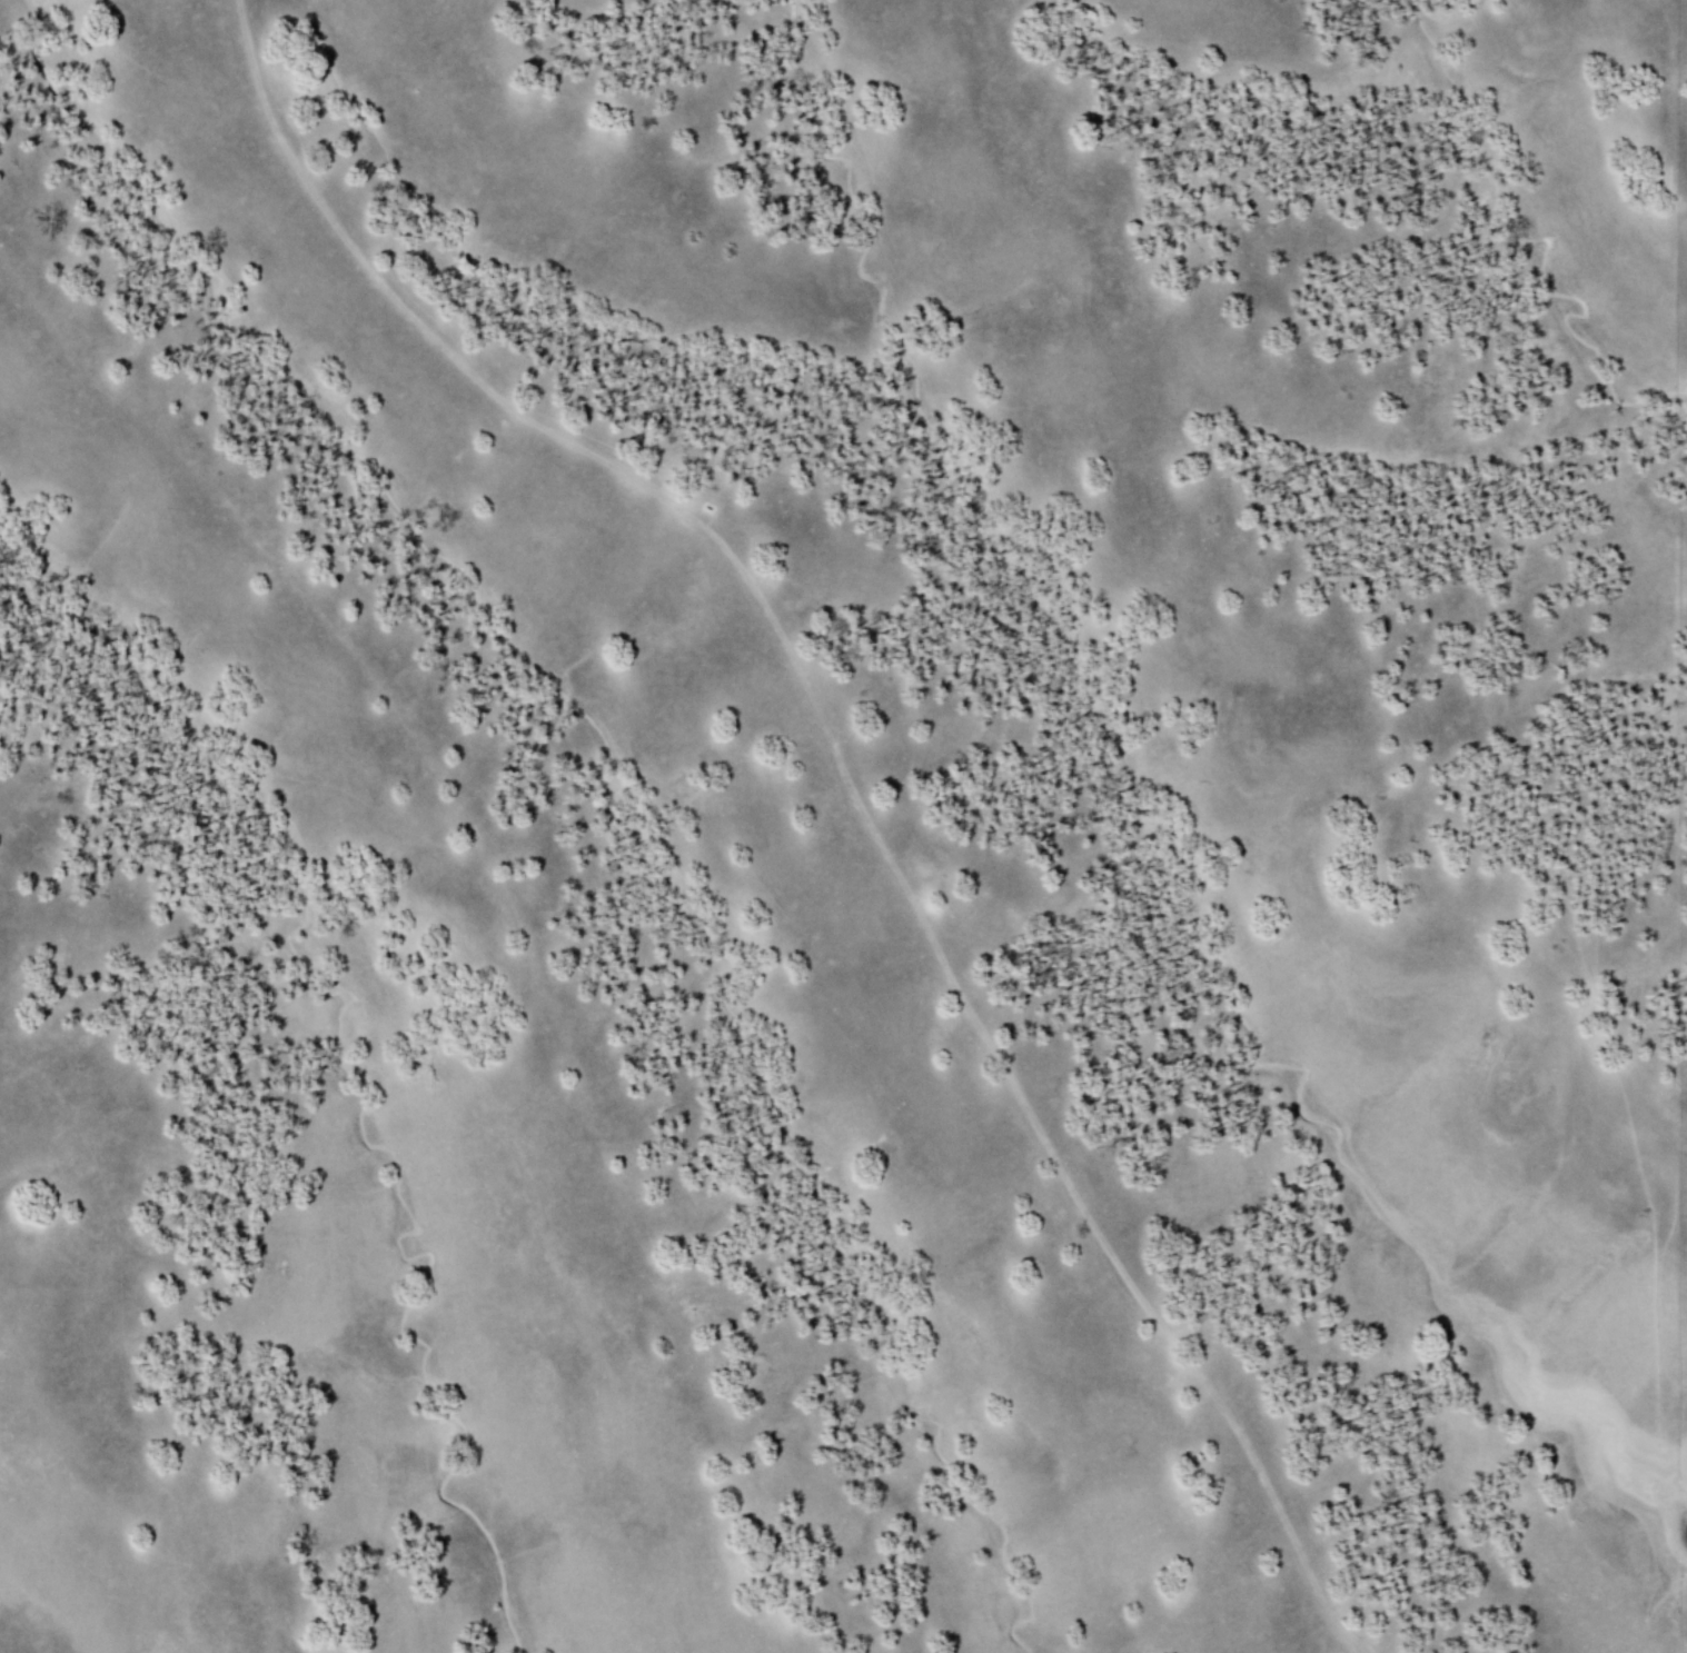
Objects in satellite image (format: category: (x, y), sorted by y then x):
road: (844, 780)

